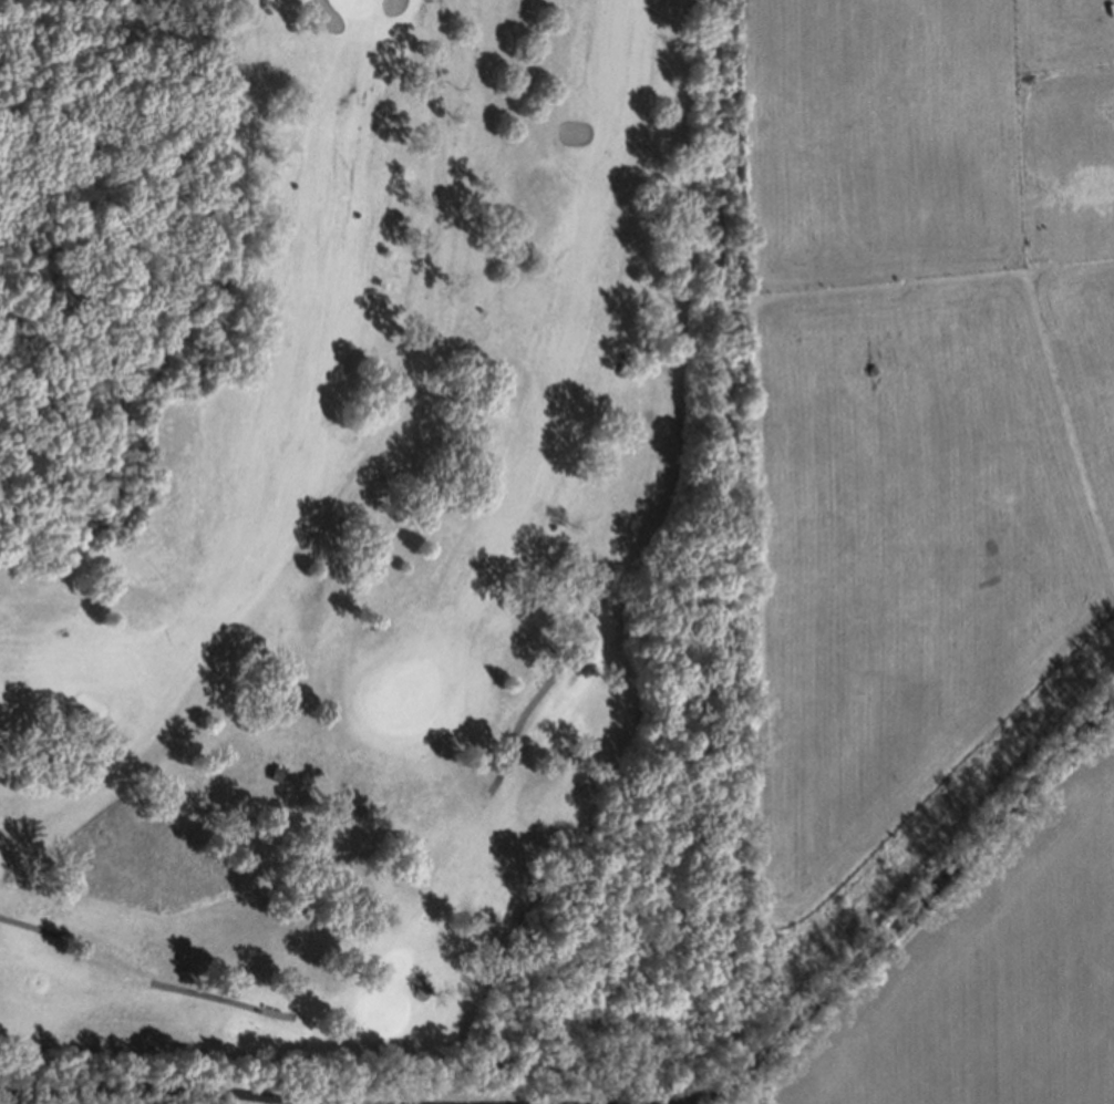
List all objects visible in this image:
building: (1108, 6)
park: (406, 559)
road: (528, 706)
building: (275, 770)
road: (897, 918)
road: (27, 924)
road: (225, 999)
road: (173, 1086)

